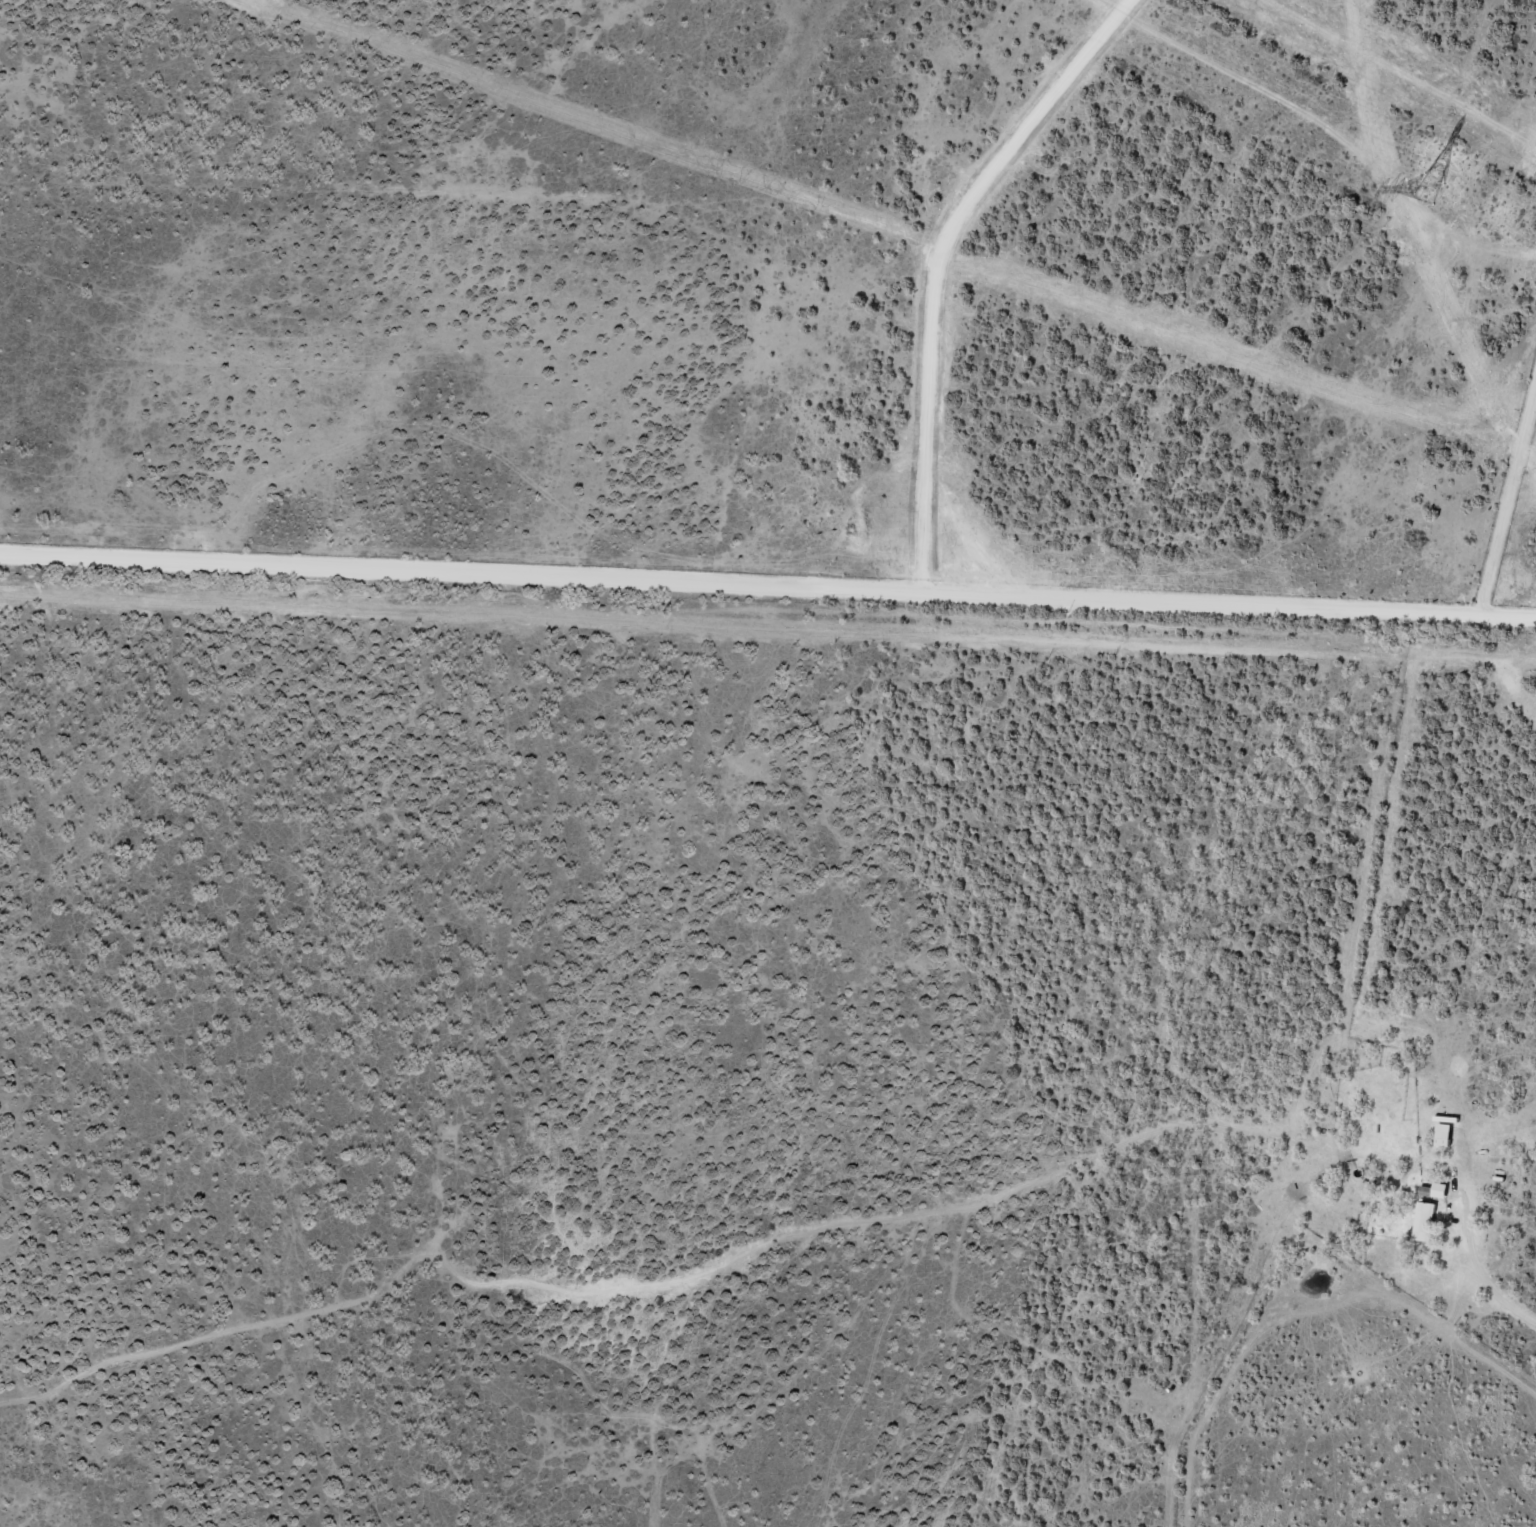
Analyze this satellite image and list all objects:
power tower: (1422, 187)
road: (1529, 559)
road: (768, 583)
building: (1423, 1221)
road: (1533, 1308)

